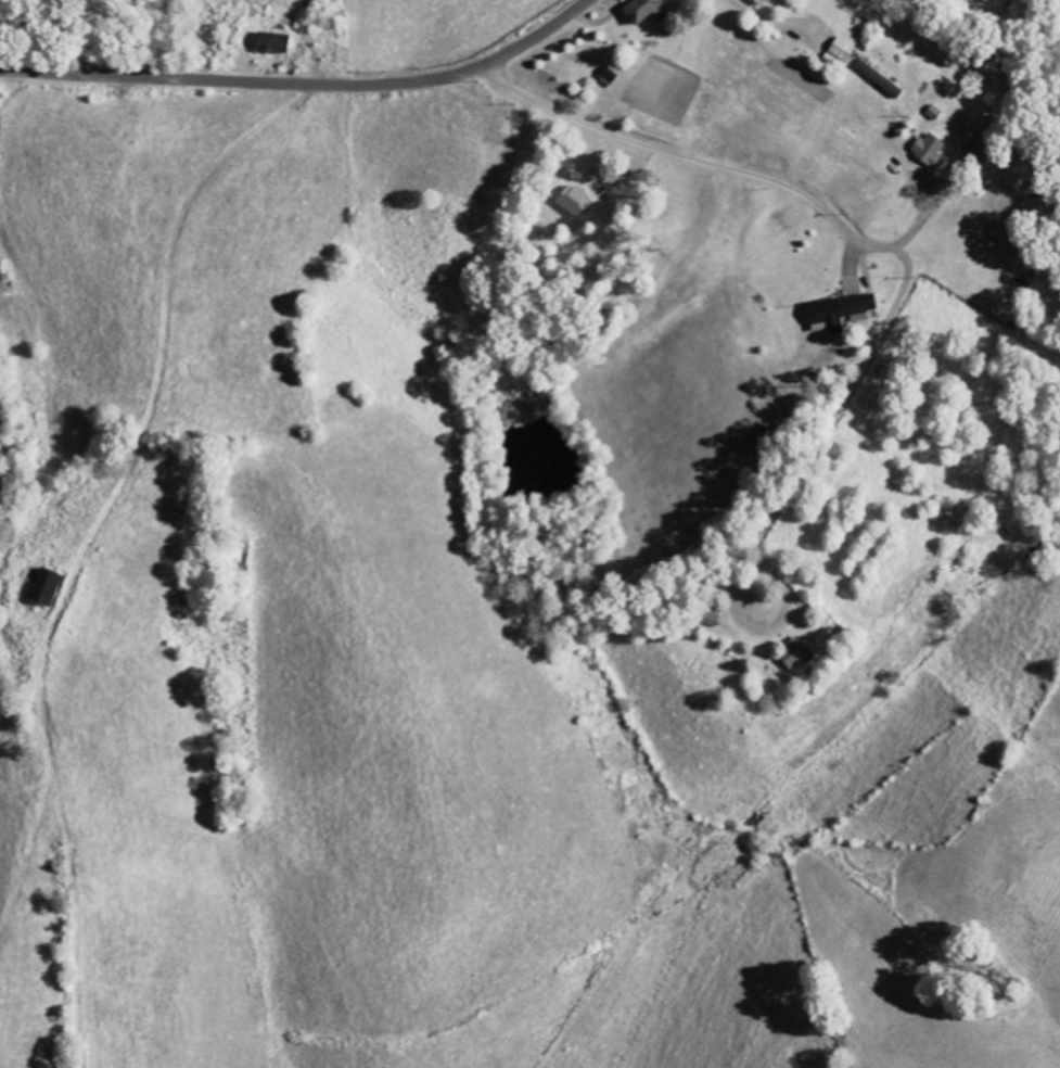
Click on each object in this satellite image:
building: (762, 2)
building: (642, 10)
building: (273, 43)
building: (842, 50)
building: (880, 79)
road: (305, 85)
building: (930, 150)
building: (1021, 175)
building: (574, 200)
road: (843, 225)
building: (841, 311)
building: (49, 588)
road: (744, 621)
building: (799, 654)

